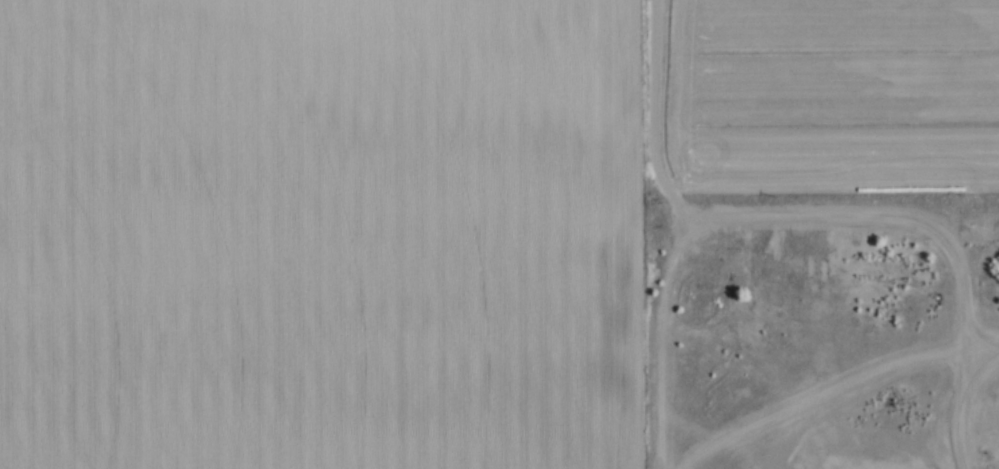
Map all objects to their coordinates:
road: (834, 357)

